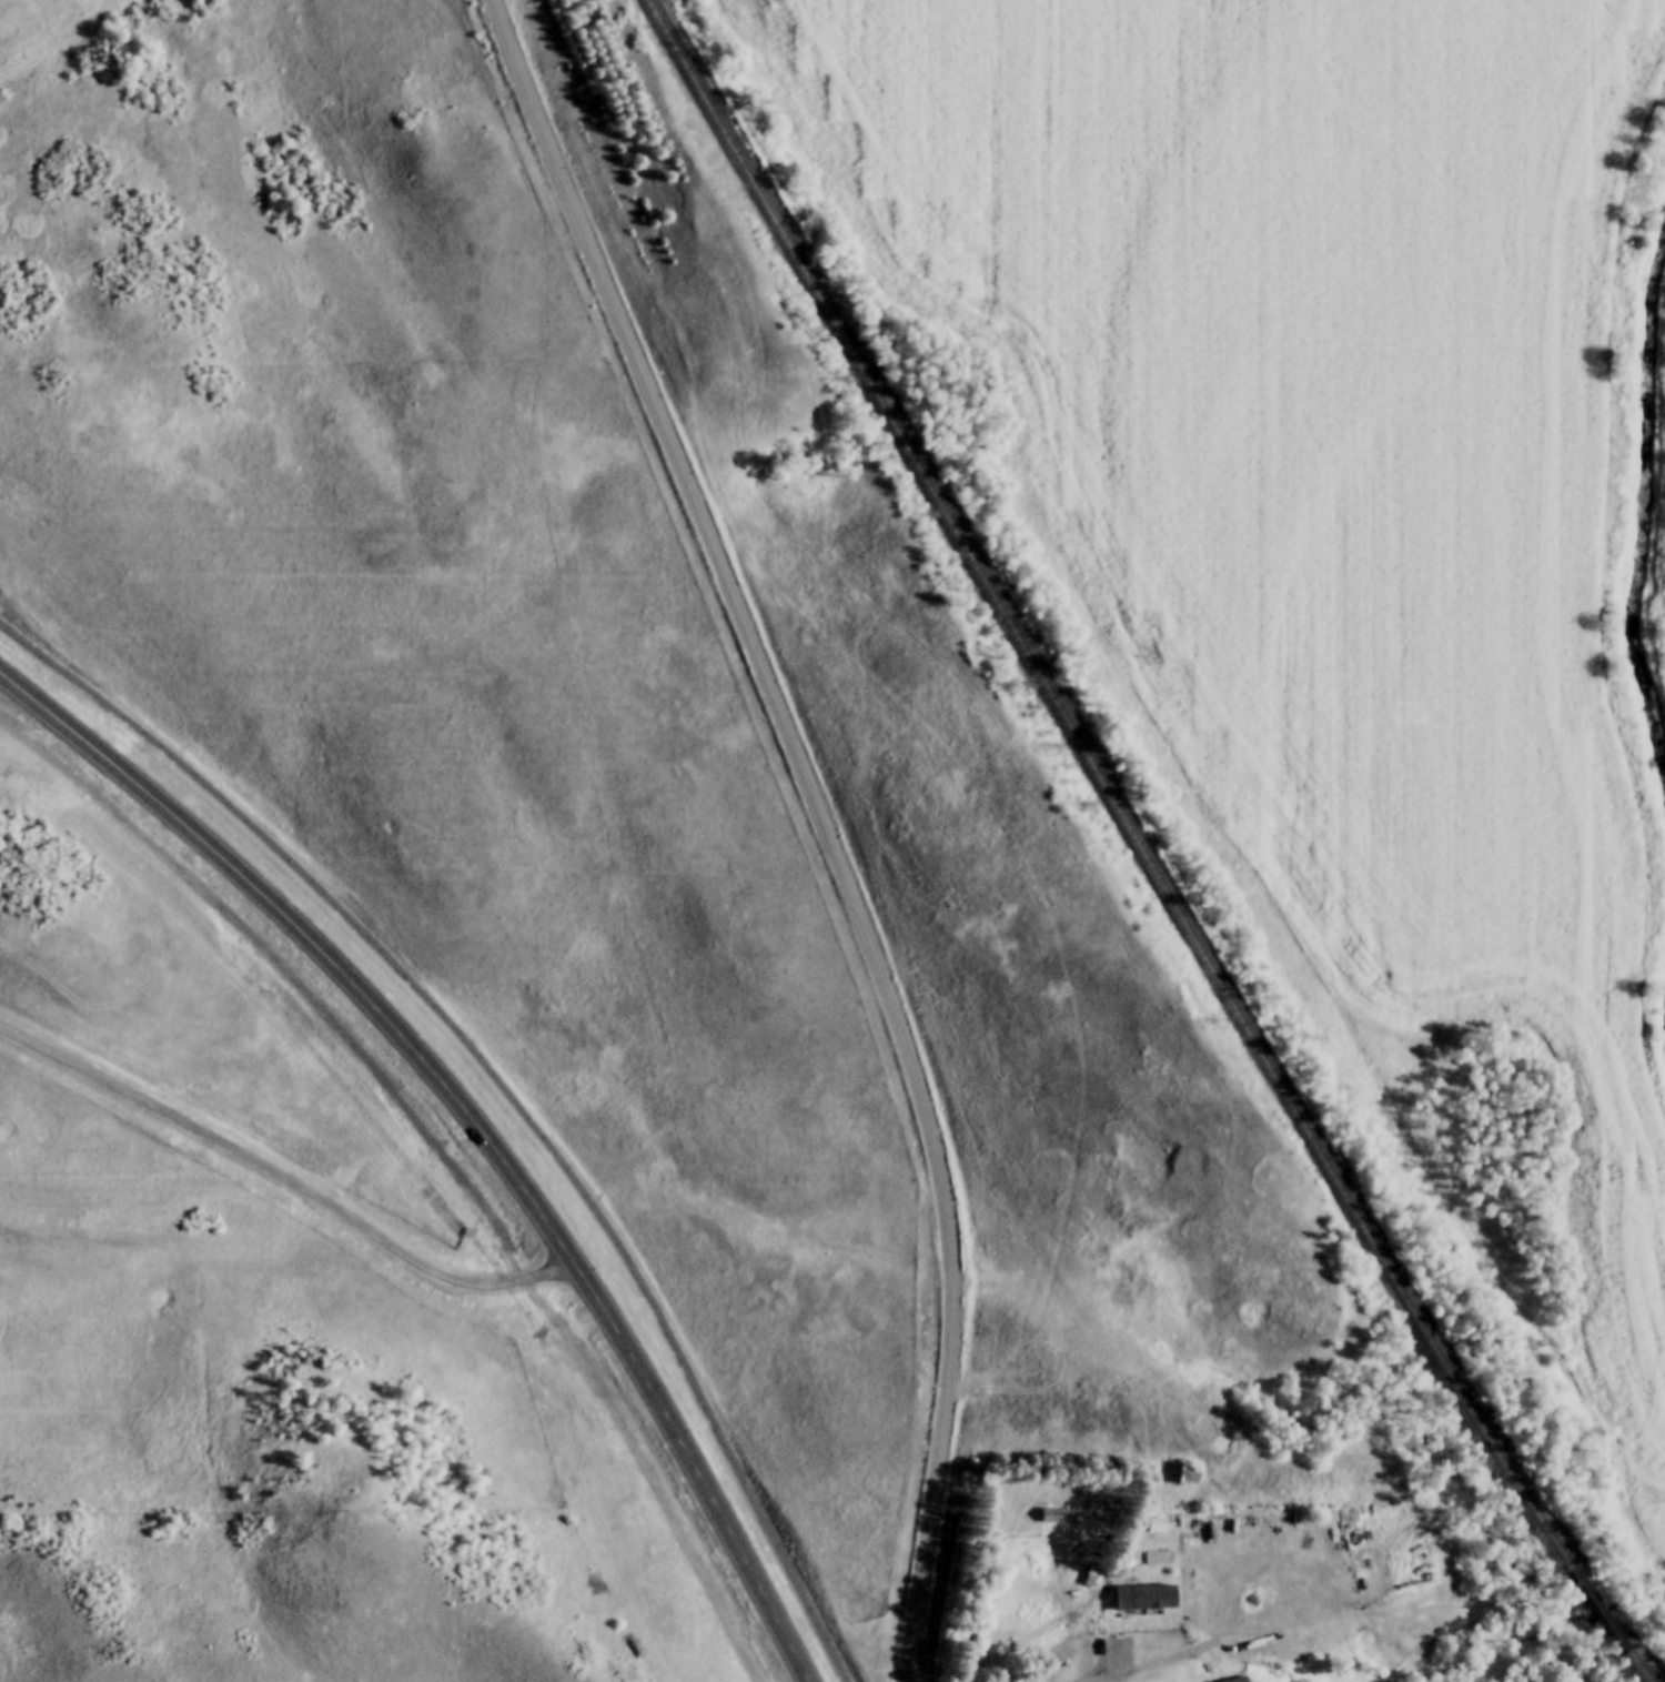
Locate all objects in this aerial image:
railway: (1096, 788)
road: (825, 819)
road: (504, 1087)
road: (475, 1119)
road: (283, 1176)
building: (1182, 1474)
building: (1046, 1517)
building: (1151, 1527)
building: (1140, 1597)
railway: (1597, 1610)
railway: (1637, 1665)
road: (1097, 1676)
building: (1234, 1680)

